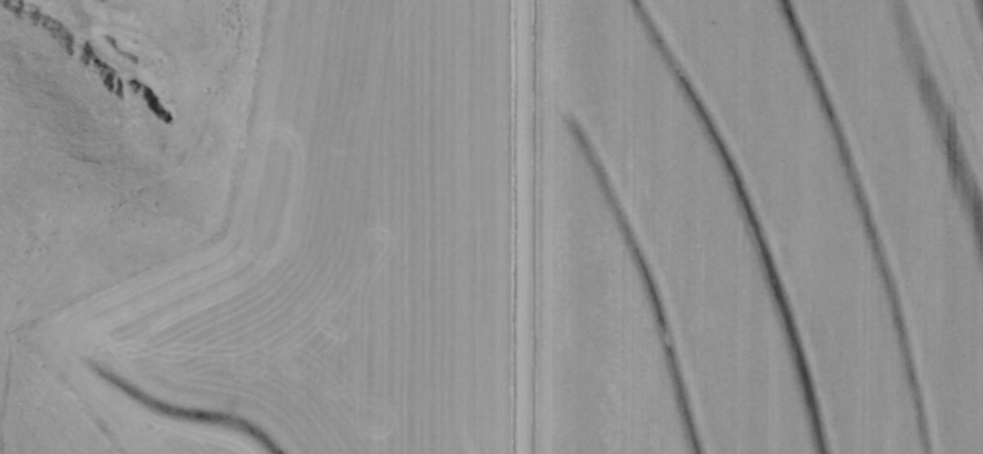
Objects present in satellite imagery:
road: (521, 227)

